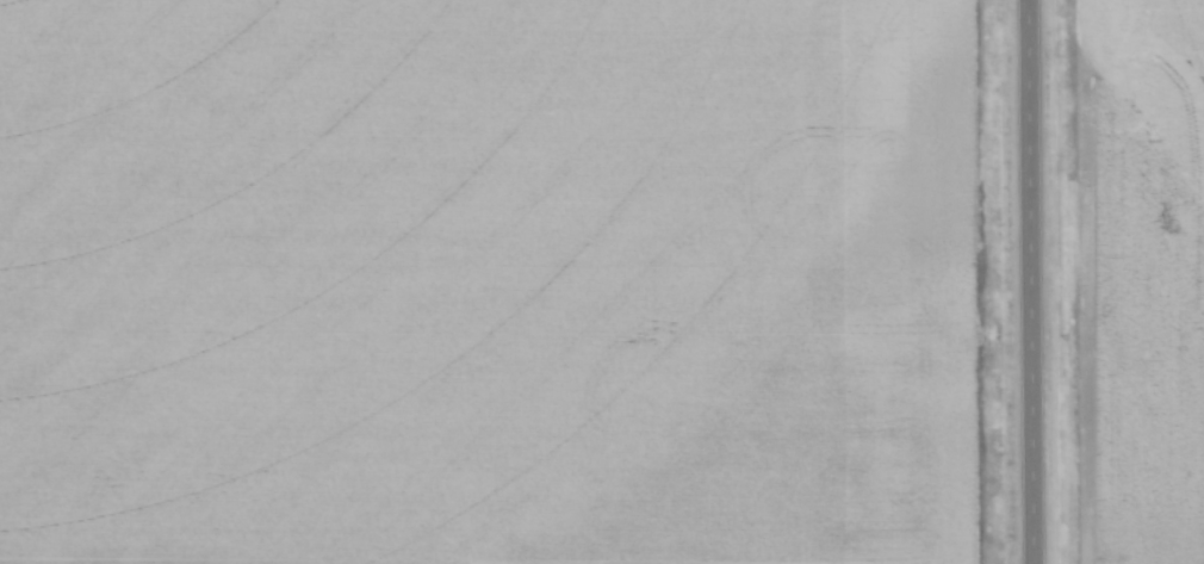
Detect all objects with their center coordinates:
road: (1029, 281)

